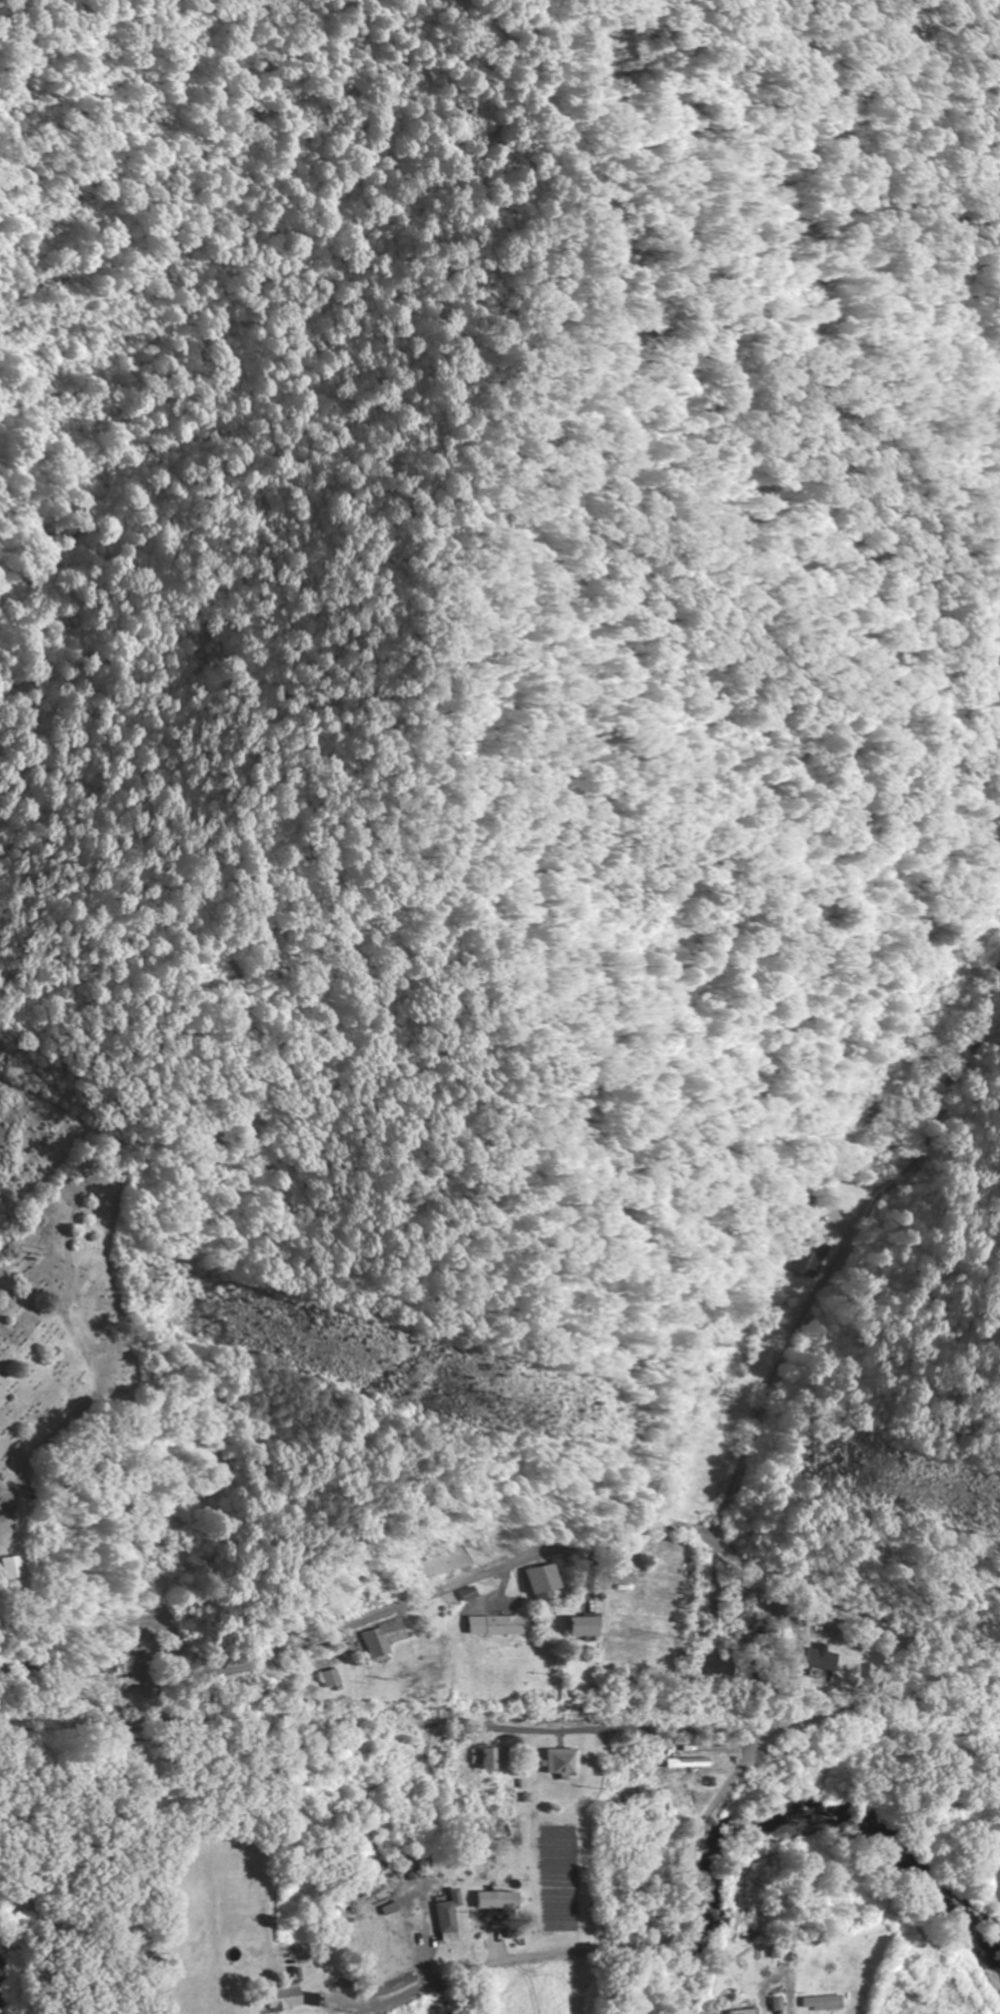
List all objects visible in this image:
building: (999, 891)
road: (831, 1213)
building: (817, 1257)
park: (71, 1358)
building: (454, 1562)
building: (16, 1566)
road: (495, 1572)
building: (548, 1582)
building: (499, 1625)
building: (586, 1626)
building: (388, 1639)
building: (137, 1660)
building: (713, 1668)
building: (336, 1678)
railway: (501, 1718)
road: (640, 1732)
building: (494, 1758)
building: (563, 1761)
building: (686, 1763)
road: (681, 1892)
building: (488, 1900)
building: (446, 1921)
building: (363, 1934)
building: (395, 1981)
building: (912, 1989)
building: (288, 1997)
building: (821, 2003)
building: (774, 2004)
building: (741, 2012)

